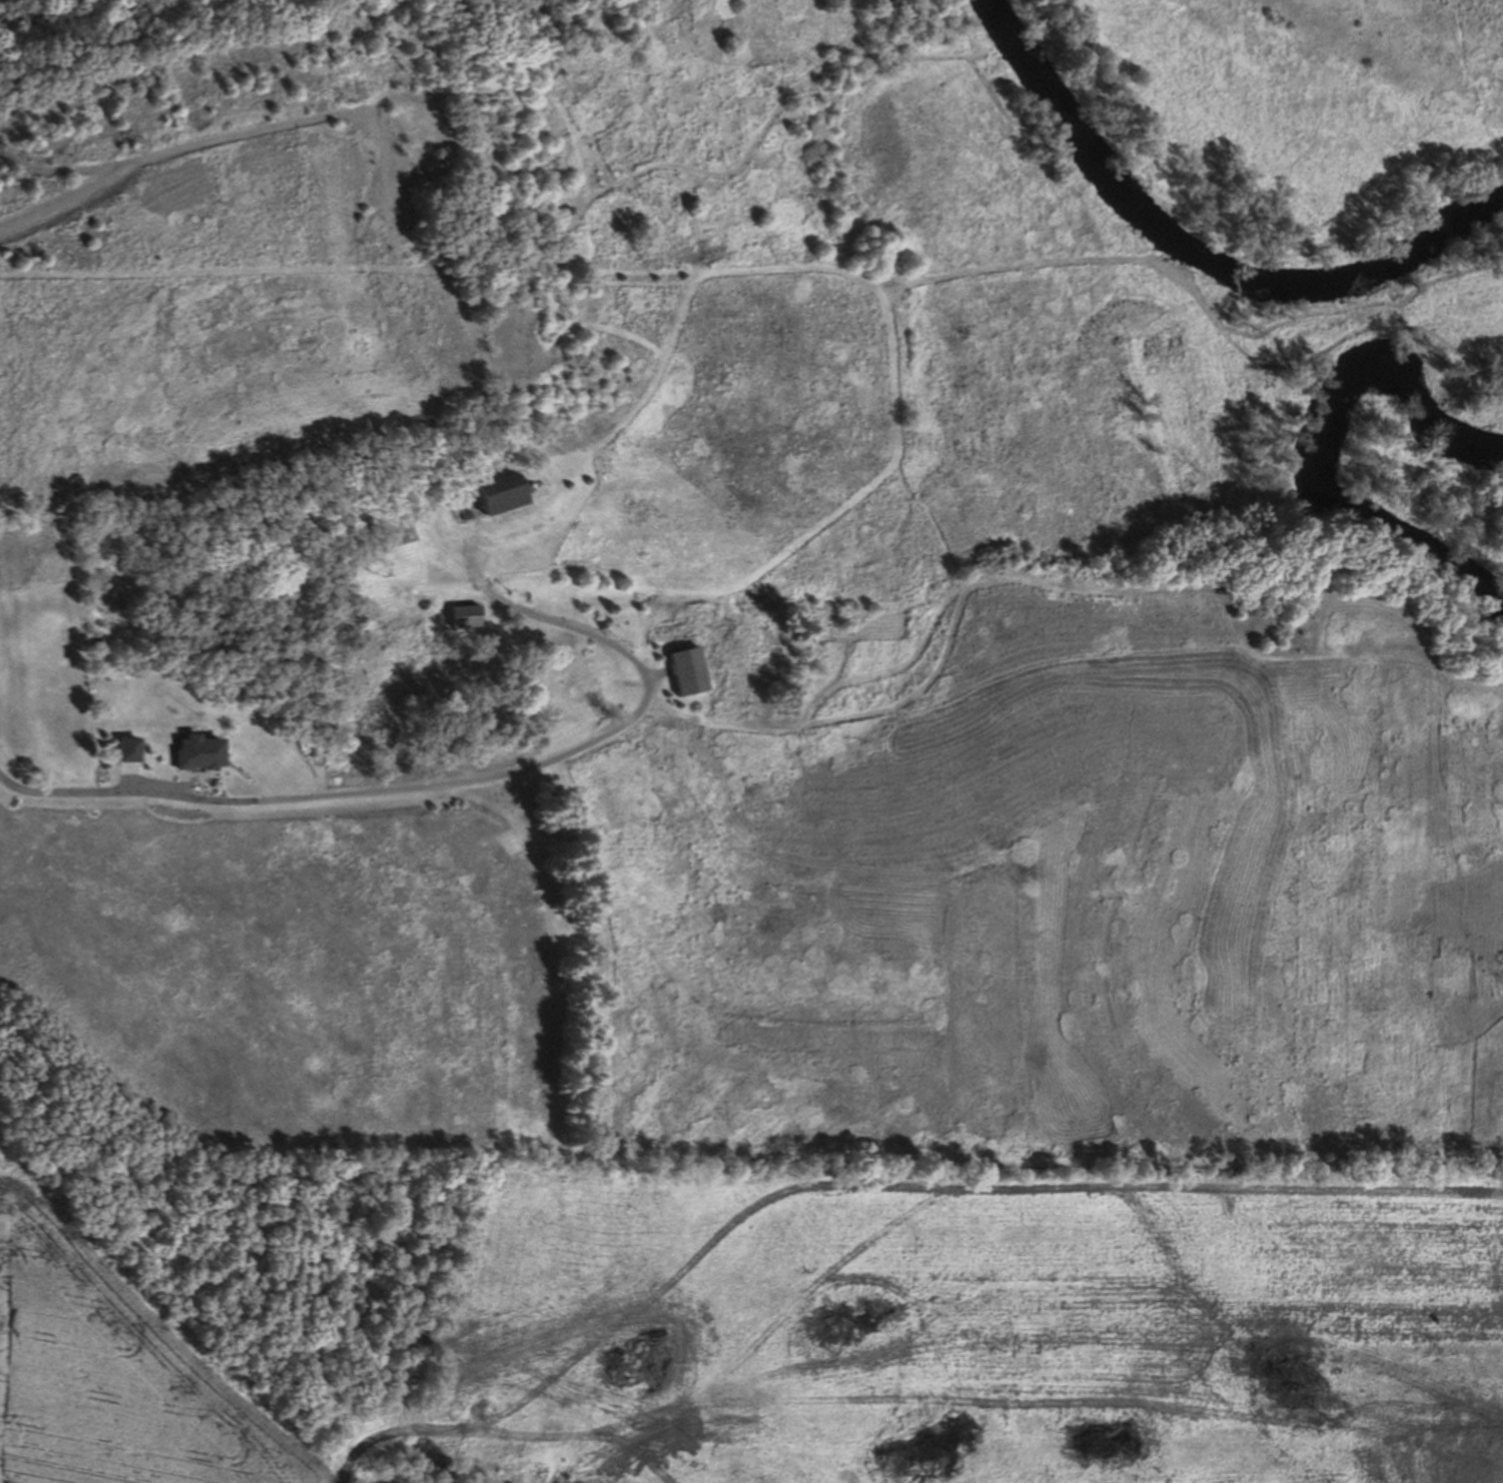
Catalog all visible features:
river: (1191, 252)
river: (1319, 464)
building: (489, 494)
building: (461, 615)
building: (679, 670)
road: (297, 781)

